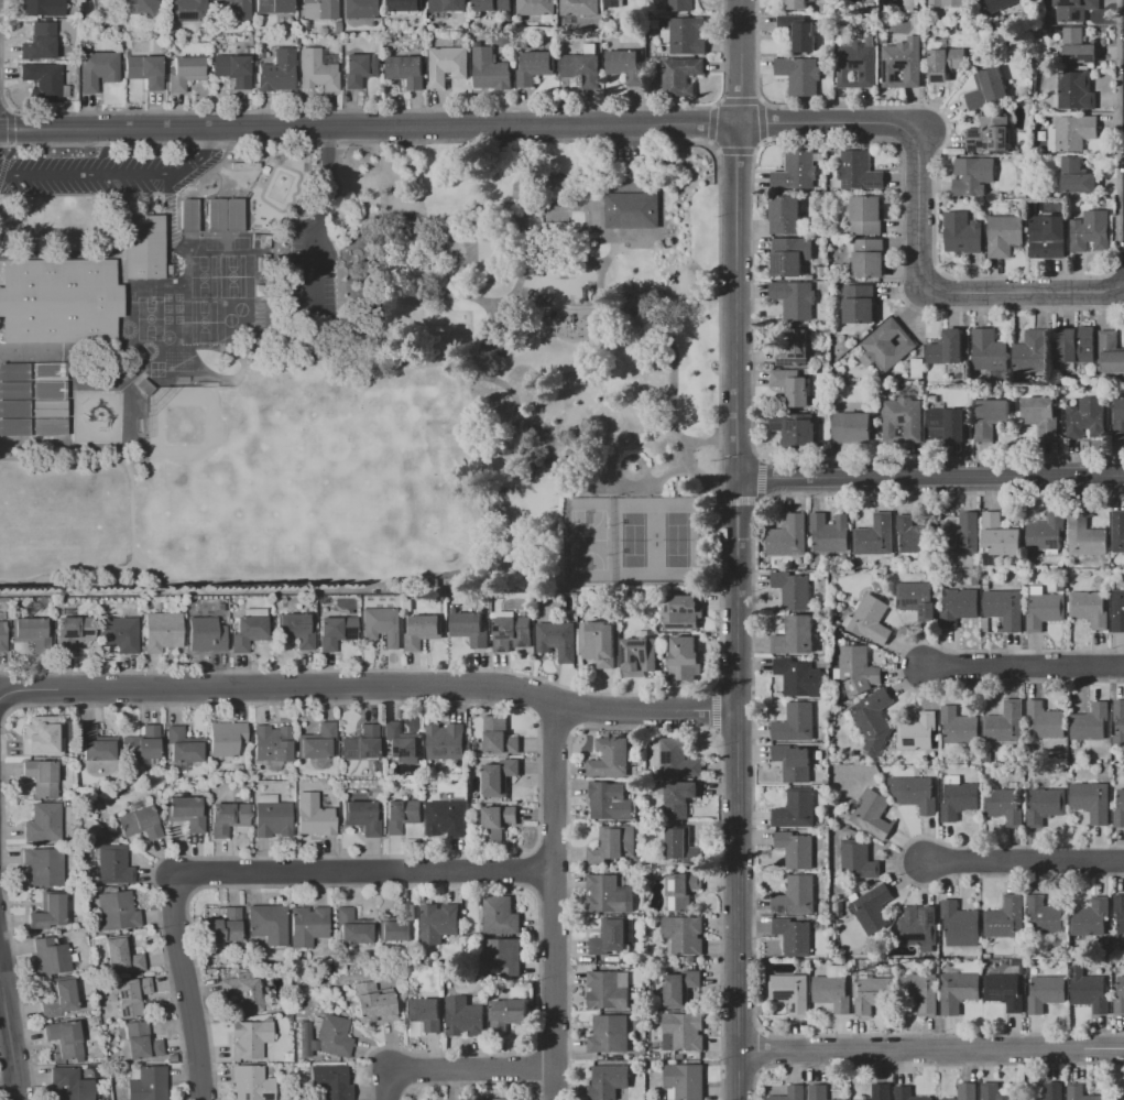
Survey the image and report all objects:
building: (947, 2)
building: (613, 3)
building: (407, 4)
building: (681, 4)
building: (796, 4)
building: (998, 4)
building: (449, 6)
building: (493, 6)
building: (274, 7)
building: (537, 7)
building: (42, 8)
building: (138, 8)
building: (580, 8)
building: (239, 9)
building: (319, 9)
building: (361, 9)
building: (1074, 9)
building: (186, 10)
building: (799, 32)
building: (687, 34)
building: (39, 42)
building: (1079, 46)
building: (943, 59)
road: (739, 61)
building: (903, 63)
building: (858, 64)
building: (448, 65)
building: (583, 65)
building: (628, 65)
building: (535, 66)
building: (360, 68)
building: (97, 69)
building: (232, 69)
building: (407, 69)
building: (491, 69)
building: (144, 70)
building: (316, 70)
building: (185, 72)
building: (276, 72)
building: (800, 75)
building: (680, 76)
building: (896, 76)
building: (44, 80)
building: (986, 89)
building: (1073, 90)
road: (739, 99)
road: (2, 107)
road: (406, 108)
road: (761, 119)
road: (822, 121)
road: (709, 122)
road: (367, 124)
road: (7, 127)
building: (1071, 132)
building: (990, 134)
road: (735, 150)
road: (4, 161)
building: (244, 165)
building: (797, 171)
building: (859, 171)
building: (973, 175)
road: (117, 176)
building: (1078, 176)
road: (522, 189)
building: (633, 210)
building: (785, 214)
building: (216, 215)
building: (233, 215)
building: (866, 215)
building: (188, 216)
road: (315, 219)
road: (428, 219)
road: (751, 222)
building: (1091, 231)
building: (962, 232)
building: (1004, 235)
building: (1047, 236)
building: (142, 247)
building: (790, 255)
building: (869, 258)
road: (939, 268)
road: (1123, 281)
road: (478, 291)
road: (948, 291)
building: (794, 298)
road: (736, 299)
building: (59, 301)
building: (860, 303)
park: (541, 337)
building: (888, 345)
building: (1076, 346)
building: (794, 348)
building: (947, 348)
building: (987, 349)
building: (1032, 351)
building: (1111, 351)
building: (917, 368)
building: (48, 371)
building: (14, 372)
building: (793, 386)
building: (14, 390)
building: (50, 390)
building: (50, 407)
building: (14, 409)
building: (1041, 414)
building: (991, 417)
building: (1087, 417)
road: (718, 418)
building: (903, 420)
building: (1118, 420)
building: (949, 423)
building: (50, 426)
building: (15, 427)
building: (852, 427)
building: (795, 429)
road: (554, 453)
road: (930, 477)
road: (760, 479)
road: (739, 500)
building: (1046, 531)
building: (1118, 531)
building: (830, 532)
building: (875, 535)
building: (963, 535)
building: (1000, 535)
building: (788, 536)
building: (914, 536)
building: (1087, 536)
building: (793, 589)
building: (916, 598)
building: (959, 605)
building: (1005, 608)
building: (1045, 608)
building: (1090, 608)
building: (1118, 610)
building: (680, 611)
building: (870, 619)
building: (382, 625)
building: (470, 628)
building: (248, 629)
building: (296, 629)
building: (423, 630)
building: (73, 631)
building: (162, 631)
building: (336, 631)
building: (31, 632)
building: (513, 632)
building: (119, 633)
building: (206, 633)
building: (797, 635)
building: (2, 636)
building: (558, 640)
building: (599, 642)
building: (639, 655)
building: (685, 656)
road: (1024, 666)
building: (858, 669)
building: (798, 676)
road: (370, 686)
building: (873, 719)
building: (1045, 720)
building: (796, 722)
building: (1005, 722)
building: (1092, 722)
building: (1118, 722)
building: (959, 725)
building: (918, 731)
building: (499, 736)
building: (40, 737)
building: (225, 739)
building: (401, 740)
building: (446, 741)
building: (316, 742)
building: (95, 743)
building: (271, 743)
building: (361, 743)
building: (141, 744)
building: (183, 745)
building: (610, 758)
building: (678, 758)
building: (794, 762)
building: (41, 776)
building: (500, 776)
road: (739, 788)
building: (918, 794)
building: (679, 797)
building: (958, 797)
building: (610, 801)
building: (1092, 801)
building: (1005, 805)
building: (1045, 805)
building: (796, 809)
building: (1120, 809)
building: (185, 812)
building: (872, 814)
building: (401, 815)
building: (314, 816)
building: (361, 816)
building: (227, 818)
building: (446, 818)
building: (272, 820)
building: (498, 821)
building: (43, 823)
building: (140, 823)
building: (613, 843)
building: (683, 846)
building: (796, 848)
building: (856, 859)
road: (1025, 860)
building: (112, 864)
building: (43, 867)
road: (364, 873)
building: (683, 890)
building: (609, 894)
building: (797, 895)
road: (554, 900)
building: (874, 907)
building: (117, 910)
building: (1120, 911)
building: (48, 912)
building: (500, 915)
building: (1046, 916)
building: (1006, 917)
building: (1092, 917)
building: (268, 923)
building: (438, 923)
building: (960, 924)
building: (307, 925)
building: (223, 926)
building: (399, 926)
building: (918, 926)
building: (353, 927)
building: (685, 934)
building: (794, 935)
building: (610, 936)
building: (121, 955)
building: (505, 955)
building: (50, 956)
road: (186, 988)
building: (680, 988)
building: (609, 989)
building: (833, 989)
building: (1004, 990)
building: (959, 991)
building: (242, 992)
building: (790, 992)
building: (920, 992)
building: (1091, 992)
building: (872, 993)
building: (1046, 993)
building: (131, 996)
building: (1120, 996)
building: (58, 998)
building: (373, 1001)
building: (424, 1012)
building: (508, 1013)
building: (463, 1016)
building: (683, 1031)
building: (610, 1033)
building: (325, 1036)
building: (65, 1038)
building: (249, 1038)
building: (141, 1042)
road: (9, 1046)
road: (934, 1049)
road: (461, 1067)
building: (330, 1081)
building: (608, 1081)
building: (684, 1081)
road: (8, 1083)
building: (148, 1083)
building: (251, 1083)
building: (69, 1085)
building: (880, 1091)
building: (967, 1091)
building: (818, 1092)
building: (993, 1092)
building: (1051, 1092)
building: (790, 1093)
building: (908, 1093)
building: (1081, 1093)
building: (1117, 1098)
building: (500, 1099)
building: (840, 1099)

